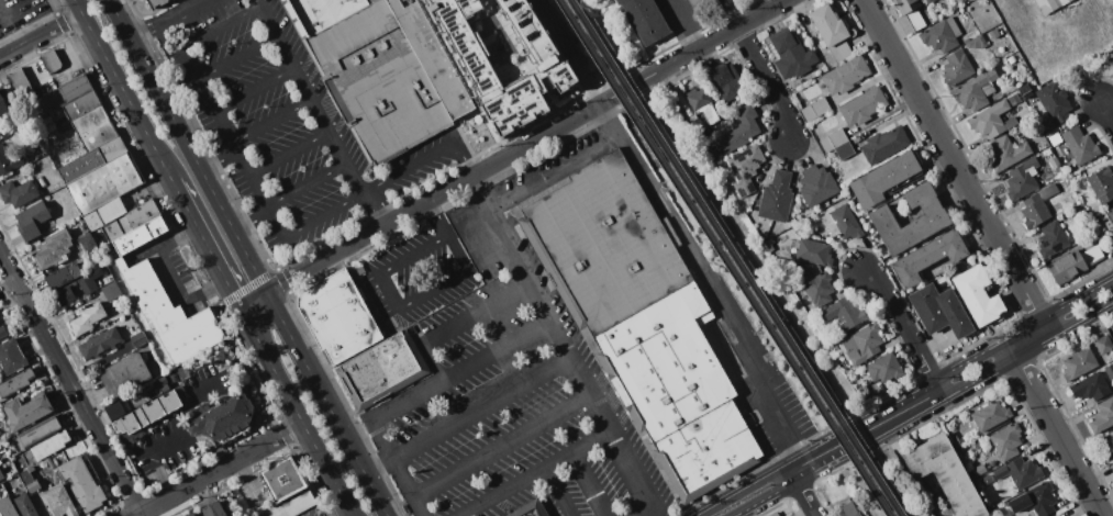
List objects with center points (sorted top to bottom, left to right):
building: (282, 0)
road: (202, 1)
building: (930, 1)
building: (156, 3)
building: (1049, 5)
building: (704, 7)
building: (911, 12)
road: (733, 13)
building: (546, 19)
building: (645, 19)
road: (169, 20)
road: (686, 24)
building: (828, 24)
road: (219, 30)
road: (40, 34)
park: (600, 35)
building: (942, 35)
building: (970, 35)
building: (976, 43)
road: (572, 51)
building: (841, 51)
building: (792, 55)
building: (502, 58)
road: (235, 59)
building: (1012, 59)
building: (1111, 60)
building: (51, 61)
building: (563, 64)
building: (957, 67)
building: (382, 70)
building: (846, 75)
road: (51, 80)
building: (727, 81)
road: (769, 82)
road: (199, 83)
building: (21, 86)
road: (123, 91)
road: (254, 91)
building: (1025, 91)
building: (975, 92)
building: (62, 94)
building: (1014, 100)
building: (700, 101)
building: (1054, 101)
building: (81, 104)
building: (3, 106)
building: (864, 106)
building: (815, 109)
road: (1106, 112)
road: (316, 114)
building: (989, 119)
road: (272, 123)
parking lot: (282, 123)
building: (1010, 123)
building: (93, 127)
building: (700, 128)
building: (739, 130)
building: (1, 135)
building: (1054, 137)
building: (833, 139)
building: (884, 144)
road: (188, 145)
road: (526, 145)
building: (1080, 145)
building: (111, 148)
building: (845, 150)
building: (1046, 152)
building: (1006, 153)
road: (290, 155)
road: (955, 159)
building: (7, 160)
road: (424, 160)
building: (1054, 162)
building: (80, 165)
road: (554, 169)
building: (745, 169)
building: (1069, 175)
road: (252, 176)
building: (883, 179)
building: (1022, 179)
building: (104, 182)
building: (1102, 184)
building: (816, 186)
building: (1048, 191)
building: (19, 193)
building: (777, 198)
building: (1035, 211)
building: (1110, 213)
building: (104, 214)
road: (437, 217)
building: (827, 218)
building: (933, 218)
building: (32, 220)
building: (130, 221)
road: (476, 221)
road: (278, 222)
building: (846, 222)
building: (833, 229)
road: (200, 231)
building: (140, 235)
building: (1053, 238)
building: (87, 242)
building: (611, 242)
building: (53, 249)
road: (743, 249)
building: (814, 253)
park: (741, 256)
building: (1092, 256)
road: (494, 257)
building: (928, 257)
railway: (722, 258)
railway: (733, 258)
building: (1067, 267)
building: (96, 273)
road: (170, 274)
building: (62, 276)
road: (711, 280)
building: (87, 283)
building: (816, 285)
building: (111, 291)
road: (235, 294)
building: (978, 294)
building: (63, 296)
road: (255, 300)
road: (397, 307)
building: (939, 310)
building: (848, 312)
building: (169, 315)
building: (338, 316)
building: (87, 318)
road: (463, 322)
road: (905, 326)
building: (2, 330)
road: (1023, 332)
road: (1028, 337)
building: (138, 338)
building: (99, 344)
building: (861, 344)
road: (566, 345)
building: (1104, 345)
road: (1026, 346)
building: (833, 347)
building: (12, 356)
building: (674, 359)
building: (1079, 363)
building: (884, 368)
building: (381, 370)
road: (458, 370)
building: (1109, 370)
building: (124, 373)
building: (174, 375)
parking lot: (525, 379)
building: (162, 381)
building: (15, 383)
road: (69, 385)
building: (243, 386)
building: (1090, 386)
building: (165, 388)
building: (180, 391)
road: (327, 403)
building: (202, 408)
road: (483, 410)
building: (26, 411)
building: (193, 412)
building: (148, 413)
road: (297, 413)
building: (990, 415)
building: (1102, 416)
road: (175, 419)
building: (224, 419)
building: (40, 430)
road: (866, 431)
building: (1112, 431)
road: (1057, 434)
road: (208, 441)
building: (1006, 441)
building: (49, 445)
road: (503, 445)
building: (714, 448)
building: (1106, 449)
building: (1112, 465)
road: (379, 467)
building: (31, 469)
road: (219, 469)
building: (979, 469)
road: (399, 471)
road: (537, 472)
building: (1020, 472)
building: (946, 473)
building: (1, 474)
road: (159, 474)
building: (26, 476)
building: (283, 479)
building: (987, 480)
building: (82, 483)
road: (588, 484)
park: (884, 485)
building: (32, 486)
road: (746, 491)
road: (557, 492)
road: (802, 493)
road: (759, 495)
building: (1035, 500)
building: (59, 502)
building: (25, 505)
building: (292, 505)
building: (7, 507)
building: (850, 508)
building: (213, 509)
building: (530, 509)
parking lot: (311, 512)
building: (775, 514)
building: (190, 515)

